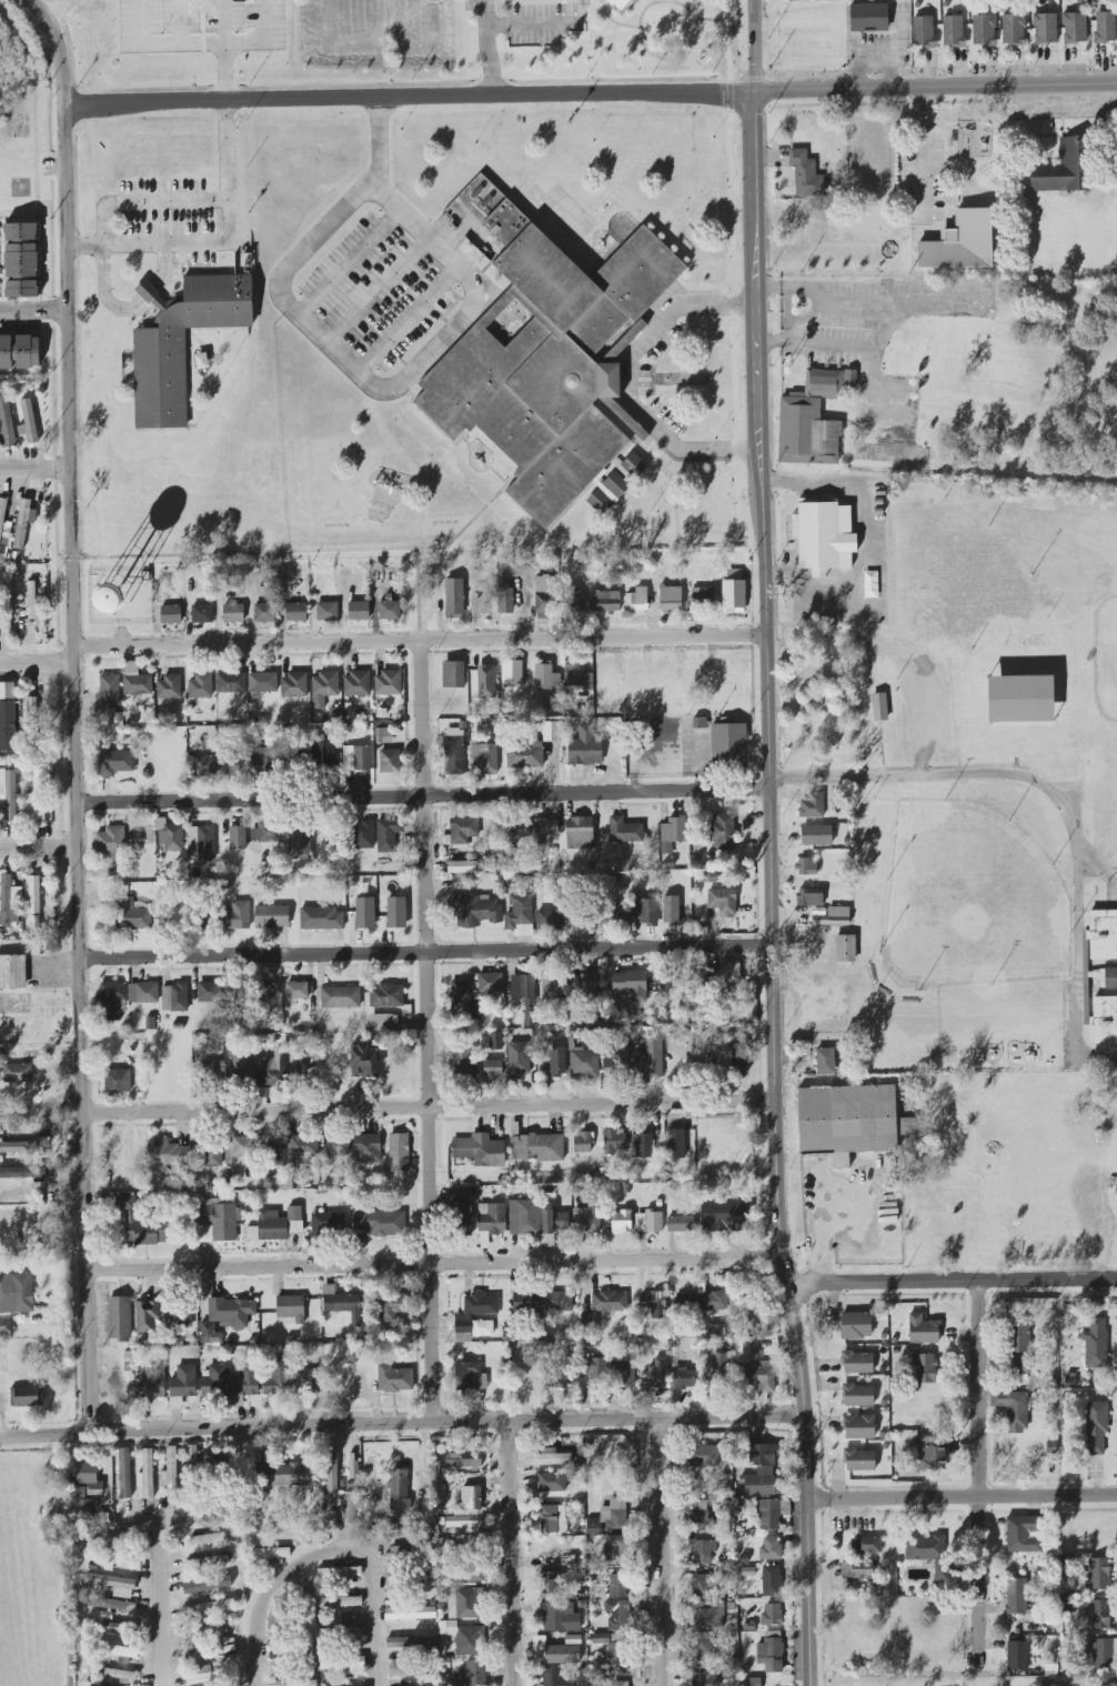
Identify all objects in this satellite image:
road: (565, 2)
road: (678, 2)
building: (618, 3)
road: (57, 10)
building: (868, 18)
road: (708, 19)
road: (533, 24)
building: (1074, 27)
building: (1105, 27)
building: (1045, 29)
building: (984, 30)
building: (1013, 30)
building: (924, 31)
building: (953, 31)
road: (263, 41)
road: (187, 44)
road: (486, 47)
road: (934, 87)
road: (407, 97)
road: (379, 140)
road: (923, 155)
building: (1063, 168)
building: (806, 175)
road: (143, 201)
building: (960, 241)
road: (219, 243)
building: (20, 251)
road: (912, 257)
road: (349, 262)
building: (21, 289)
road: (378, 291)
road: (812, 291)
road: (904, 300)
road: (128, 307)
road: (33, 310)
road: (784, 314)
road: (406, 319)
road: (880, 324)
building: (180, 342)
road: (814, 342)
building: (19, 350)
building: (549, 360)
road: (626, 380)
road: (895, 384)
road: (382, 389)
road: (871, 403)
building: (812, 420)
building: (28, 422)
building: (6, 424)
building: (632, 466)
road: (33, 469)
road: (576, 499)
building: (22, 522)
building: (3, 526)
road: (863, 530)
building: (823, 536)
road: (302, 551)
building: (733, 591)
road: (416, 594)
building: (453, 596)
building: (545, 596)
building: (703, 596)
water tower: (113, 599)
building: (670, 599)
building: (30, 600)
building: (505, 601)
building: (573, 601)
building: (636, 601)
building: (605, 602)
building: (482, 603)
building: (4, 605)
building: (389, 609)
building: (326, 611)
building: (358, 611)
building: (295, 612)
building: (232, 613)
building: (263, 613)
building: (170, 614)
building: (202, 614)
road: (752, 629)
road: (419, 640)
road: (871, 641)
track: (1095, 656)
road: (34, 664)
building: (453, 674)
building: (512, 674)
building: (545, 676)
building: (576, 678)
building: (135, 680)
building: (231, 682)
building: (262, 682)
building: (486, 682)
building: (386, 683)
building: (356, 684)
building: (201, 685)
building: (293, 685)
building: (168, 688)
building: (324, 688)
building: (109, 690)
building: (7, 691)
building: (1019, 699)
building: (878, 706)
road: (72, 711)
building: (8, 719)
building: (30, 721)
road: (920, 721)
building: (551, 731)
building: (728, 745)
building: (584, 746)
building: (454, 750)
building: (524, 752)
building: (324, 756)
building: (355, 757)
building: (484, 757)
building: (263, 760)
building: (389, 761)
building: (115, 762)
building: (234, 764)
building: (203, 765)
building: (8, 795)
road: (423, 795)
building: (34, 799)
building: (812, 805)
road: (1063, 805)
building: (545, 826)
building: (520, 829)
building: (723, 830)
building: (461, 831)
building: (624, 831)
building: (264, 833)
building: (388, 833)
building: (578, 833)
building: (671, 833)
building: (364, 834)
building: (816, 835)
building: (238, 836)
building: (170, 837)
building: (296, 837)
building: (111, 842)
building: (200, 843)
road: (769, 844)
road: (37, 847)
building: (461, 866)
building: (806, 866)
building: (117, 870)
building: (707, 877)
building: (33, 895)
building: (809, 897)
building: (9, 901)
park: (969, 901)
building: (723, 902)
building: (670, 910)
building: (474, 911)
building: (395, 912)
building: (643, 912)
building: (364, 913)
building: (238, 915)
building: (520, 915)
building: (131, 916)
building: (837, 916)
building: (271, 917)
building: (319, 917)
building: (549, 920)
building: (1103, 934)
building: (844, 949)
road: (424, 952)
building: (13, 972)
building: (729, 973)
building: (695, 976)
building: (1110, 977)
building: (490, 982)
building: (586, 984)
building: (630, 986)
building: (561, 987)
building: (296, 991)
building: (209, 992)
building: (142, 993)
building: (460, 994)
building: (524, 994)
building: (241, 995)
building: (272, 995)
building: (111, 996)
building: (386, 996)
building: (174, 997)
building: (340, 997)
building: (475, 1010)
building: (1105, 1020)
building: (383, 1023)
road: (429, 1031)
building: (494, 1041)
building: (650, 1058)
building: (739, 1058)
building: (362, 1060)
building: (519, 1060)
building: (554, 1061)
building: (616, 1061)
building: (825, 1061)
building: (462, 1062)
building: (583, 1063)
building: (304, 1064)
building: (211, 1068)
building: (492, 1068)
building: (239, 1070)
building: (272, 1071)
building: (17, 1073)
building: (117, 1081)
road: (426, 1108)
building: (845, 1120)
building: (908, 1126)
building: (614, 1141)
building: (582, 1143)
building: (675, 1144)
building: (335, 1145)
building: (643, 1145)
building: (16, 1147)
building: (239, 1147)
building: (536, 1147)
building: (366, 1148)
building: (301, 1151)
building: (480, 1151)
building: (275, 1152)
building: (398, 1152)
building: (168, 1155)
building: (212, 1156)
building: (22, 1172)
road: (40, 1186)
building: (1115, 1195)
building: (724, 1214)
building: (462, 1215)
road: (41, 1217)
building: (219, 1217)
building: (523, 1217)
building: (491, 1218)
building: (586, 1218)
building: (621, 1222)
building: (647, 1222)
building: (379, 1223)
building: (328, 1224)
building: (680, 1224)
building: (275, 1225)
building: (553, 1225)
building: (140, 1226)
road: (823, 1235)
road: (433, 1265)
road: (950, 1281)
building: (16, 1293)
building: (713, 1301)
building: (557, 1302)
building: (525, 1303)
building: (684, 1303)
building: (653, 1304)
building: (390, 1306)
building: (603, 1306)
building: (290, 1309)
building: (231, 1312)
building: (175, 1313)
building: (145, 1316)
building: (463, 1317)
building: (119, 1319)
building: (856, 1326)
building: (718, 1329)
building: (923, 1329)
building: (1095, 1344)
building: (1019, 1347)
building: (742, 1352)
building: (856, 1363)
building: (719, 1366)
building: (924, 1368)
building: (594, 1369)
building: (623, 1373)
building: (654, 1373)
building: (561, 1375)
building: (469, 1376)
building: (761, 1376)
building: (276, 1377)
building: (685, 1377)
building: (394, 1378)
building: (214, 1381)
building: (245, 1382)
building: (151, 1383)
building: (308, 1383)
building: (182, 1385)
building: (858, 1395)
building: (26, 1396)
building: (1012, 1409)
road: (404, 1423)
building: (1097, 1426)
building: (858, 1427)
building: (761, 1453)
building: (927, 1454)
building: (703, 1455)
building: (550, 1457)
building: (858, 1459)
building: (462, 1462)
road: (979, 1466)
building: (171, 1472)
building: (124, 1473)
building: (145, 1474)
building: (289, 1475)
building: (87, 1476)
building: (331, 1478)
building: (551, 1482)
building: (762, 1483)
building: (399, 1488)
road: (963, 1496)
building: (471, 1497)
building: (82, 1507)
building: (351, 1507)
building: (772, 1514)
building: (707, 1515)
building: (608, 1517)
building: (464, 1518)
building: (552, 1519)
building: (1023, 1534)
building: (114, 1537)
building: (207, 1539)
building: (867, 1545)
building: (769, 1549)
building: (615, 1550)
road: (340, 1552)
road: (658, 1552)
building: (702, 1552)
building: (271, 1553)
building: (928, 1553)
road: (510, 1554)
building: (107, 1557)
building: (207, 1562)
building: (856, 1569)
building: (467, 1570)
building: (745, 1572)
building: (339, 1573)
building: (1098, 1574)
building: (393, 1580)
building: (771, 1580)
building: (113, 1585)
building: (207, 1585)
building: (549, 1585)
building: (618, 1586)
building: (702, 1587)
building: (1016, 1596)
road: (171, 1598)
building: (339, 1602)
building: (464, 1603)
building: (117, 1605)
building: (207, 1606)
building: (410, 1613)
building: (1097, 1614)
building: (617, 1615)
building: (708, 1615)
building: (771, 1615)
building: (558, 1617)
building: (117, 1628)
building: (204, 1628)
building: (275, 1632)
building: (464, 1638)
building: (600, 1638)
building: (411, 1643)
building: (704, 1647)
building: (617, 1648)
building: (119, 1650)
building: (208, 1652)
building: (564, 1652)
building: (771, 1652)
building: (1100, 1654)
building: (1017, 1656)
building: (326, 1663)
building: (353, 1666)
building: (406, 1668)
building: (471, 1674)
building: (203, 1675)
building: (120, 1676)
building: (582, 1676)
building: (556, 1678)
building: (702, 1678)
building: (753, 1682)
building: (291, 1683)
building: (620, 1684)

